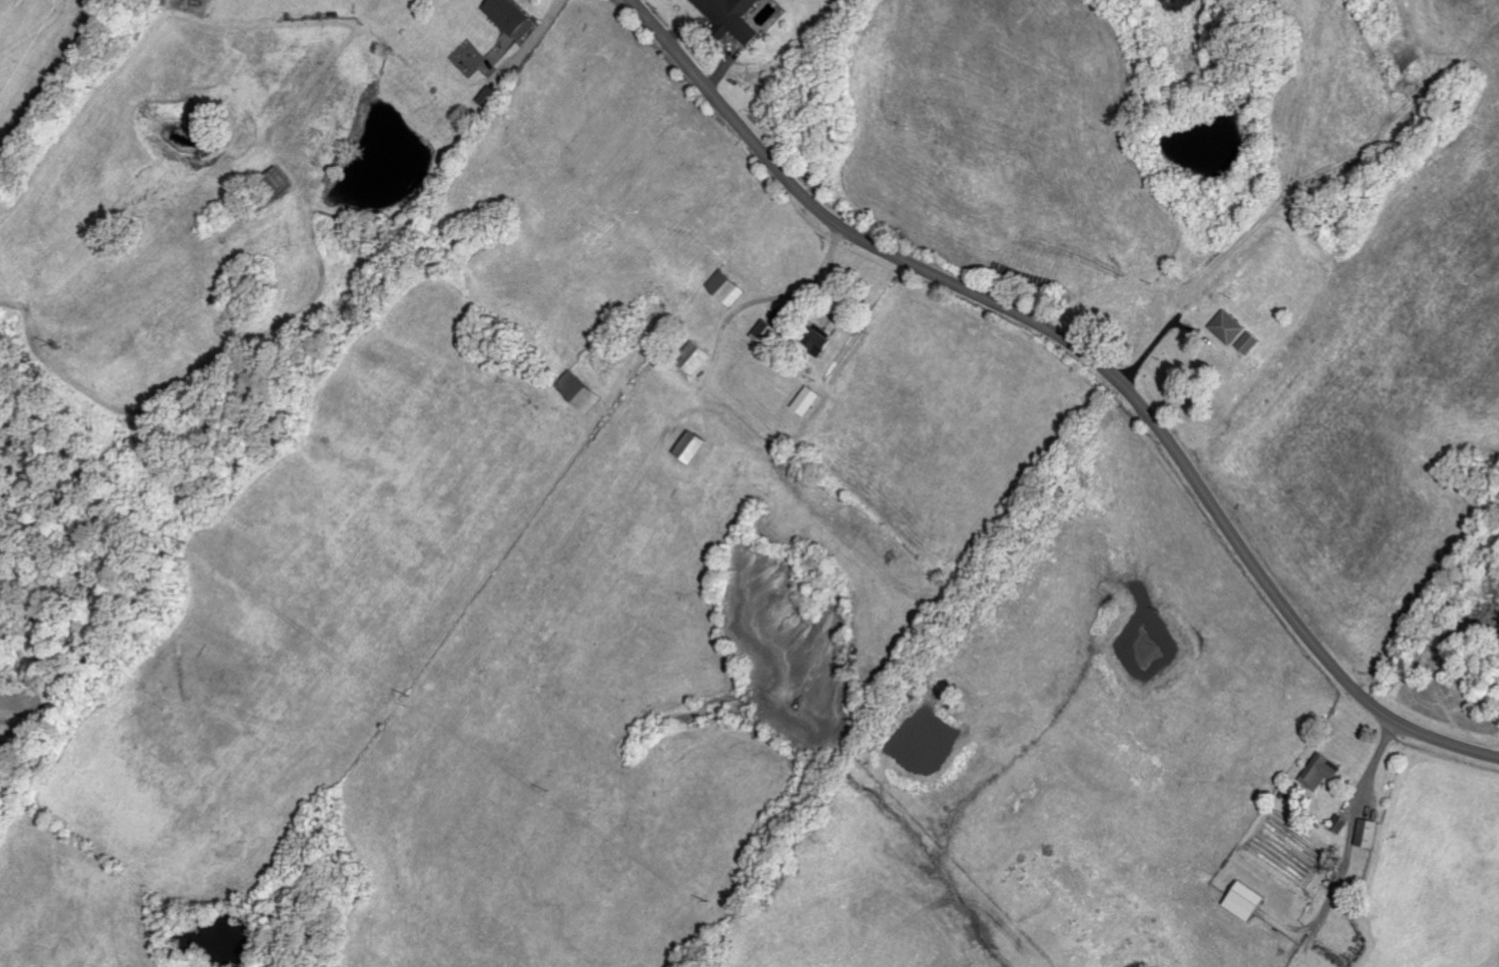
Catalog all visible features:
building: (508, 15)
building: (732, 16)
building: (278, 181)
building: (726, 289)
building: (1229, 328)
building: (766, 334)
road: (1156, 344)
building: (1250, 344)
building: (818, 347)
road: (1087, 357)
building: (694, 359)
building: (580, 393)
building: (691, 448)
building: (1322, 773)
building: (1368, 835)
road: (1353, 842)
building: (1245, 901)

